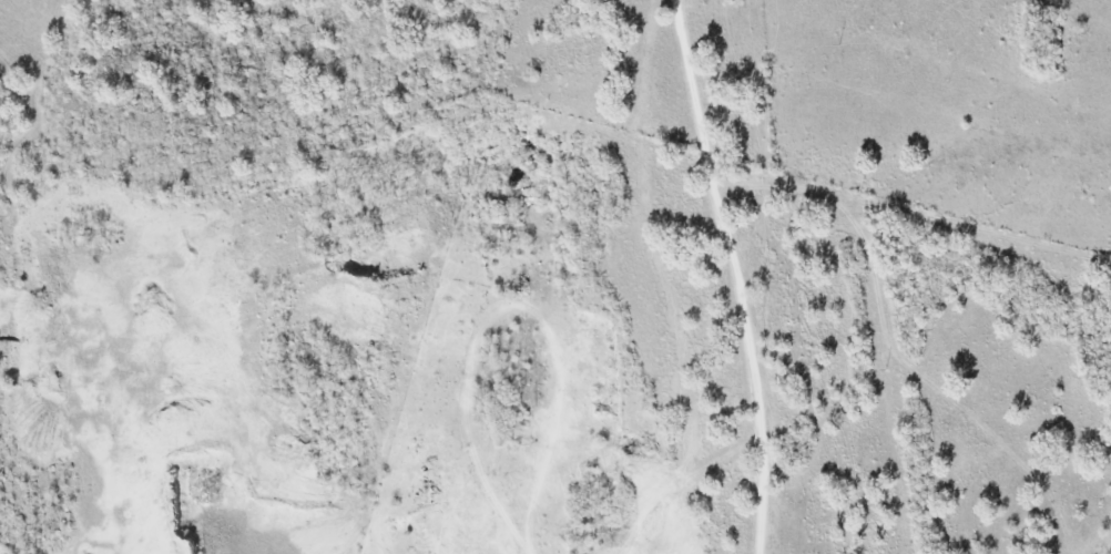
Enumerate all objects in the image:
road: (738, 274)

